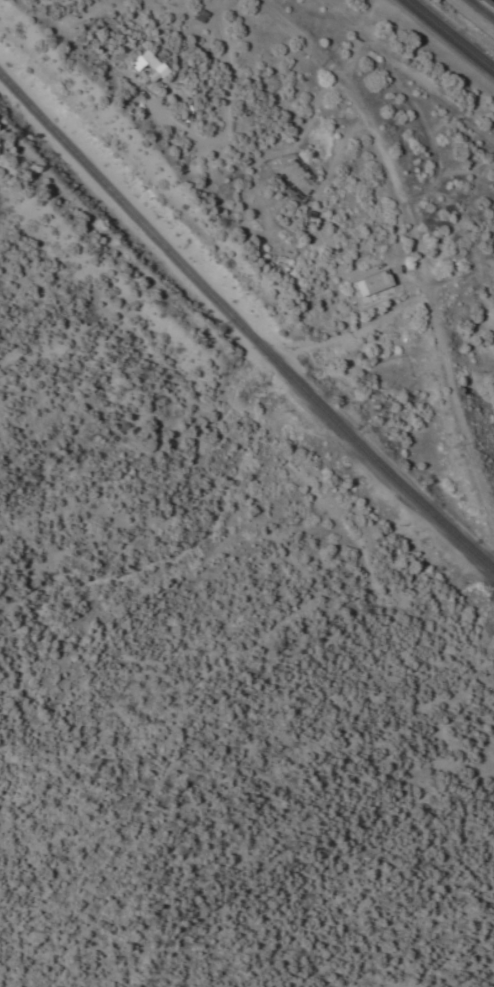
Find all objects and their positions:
road: (490, 2)
road: (450, 35)
building: (142, 65)
building: (365, 282)
railway: (241, 329)

